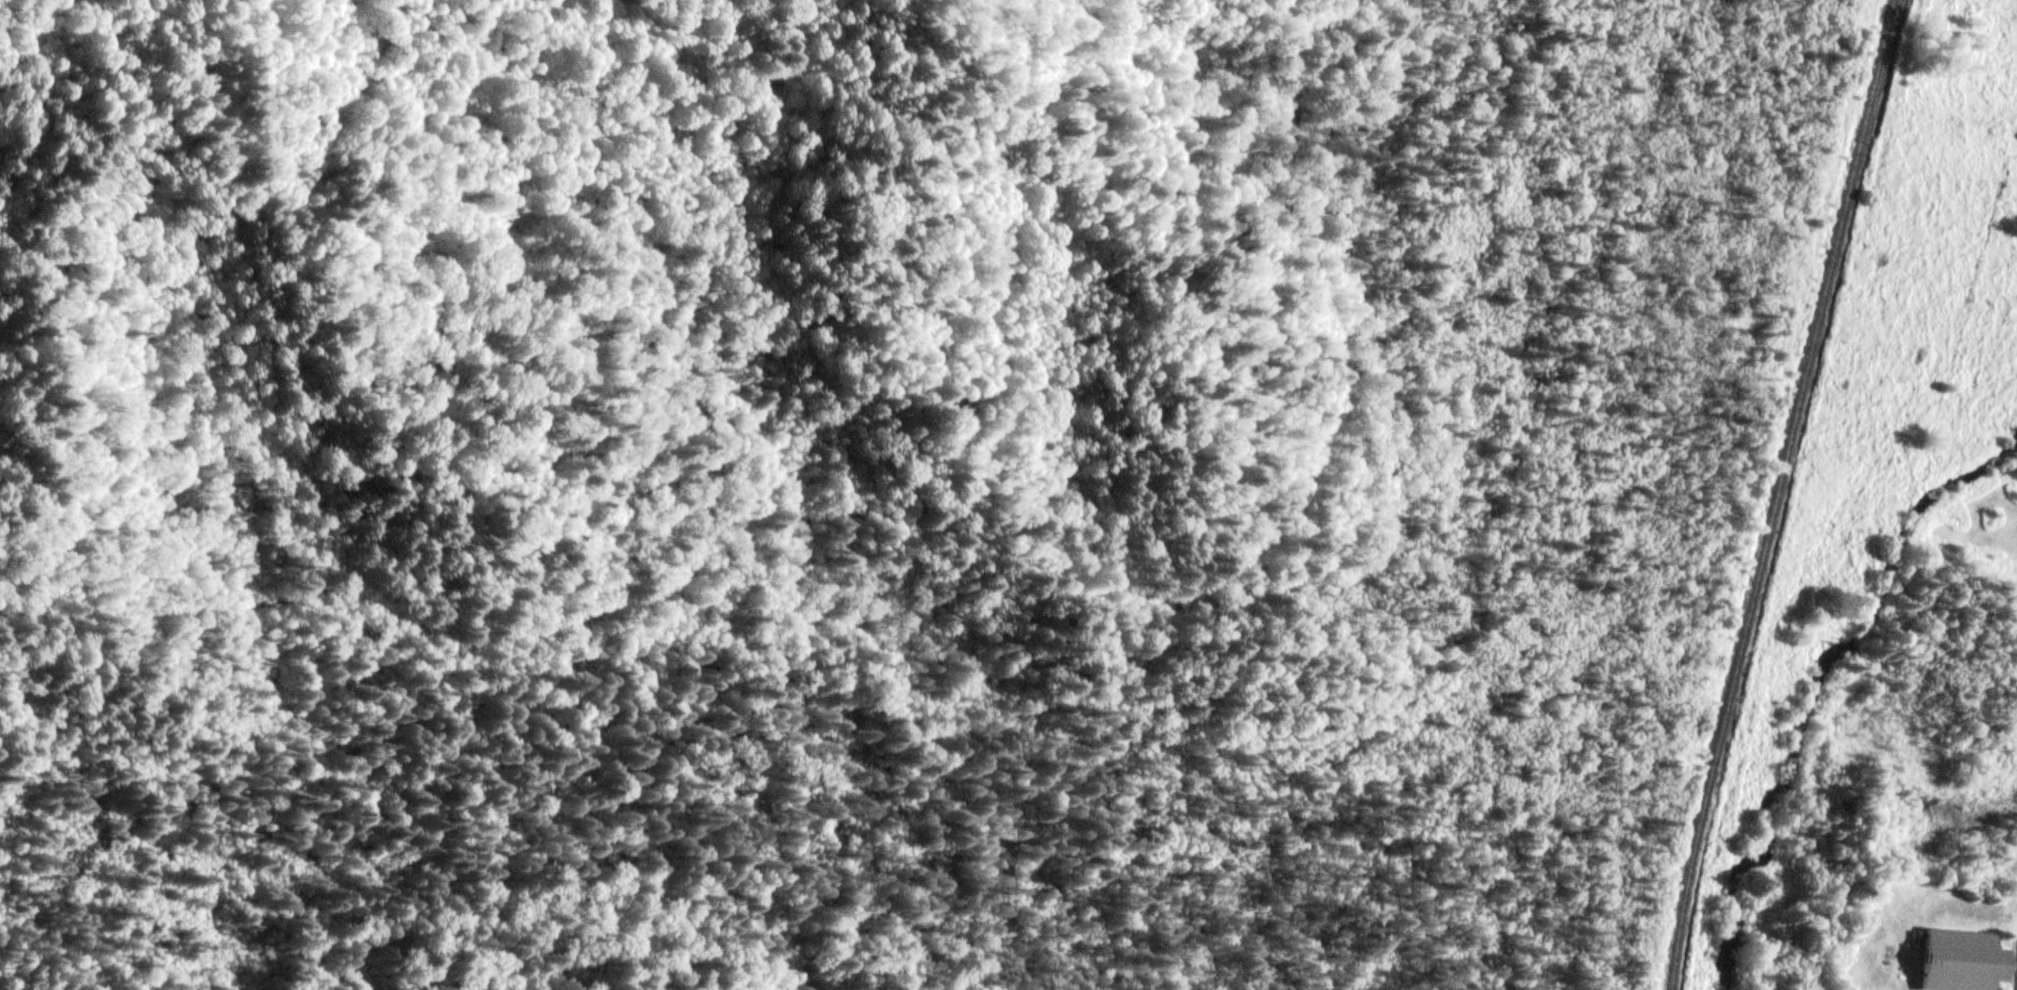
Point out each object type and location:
railway: (1801, 394)
road: (953, 547)
river: (1819, 686)
railway: (1686, 889)
building: (1962, 962)

